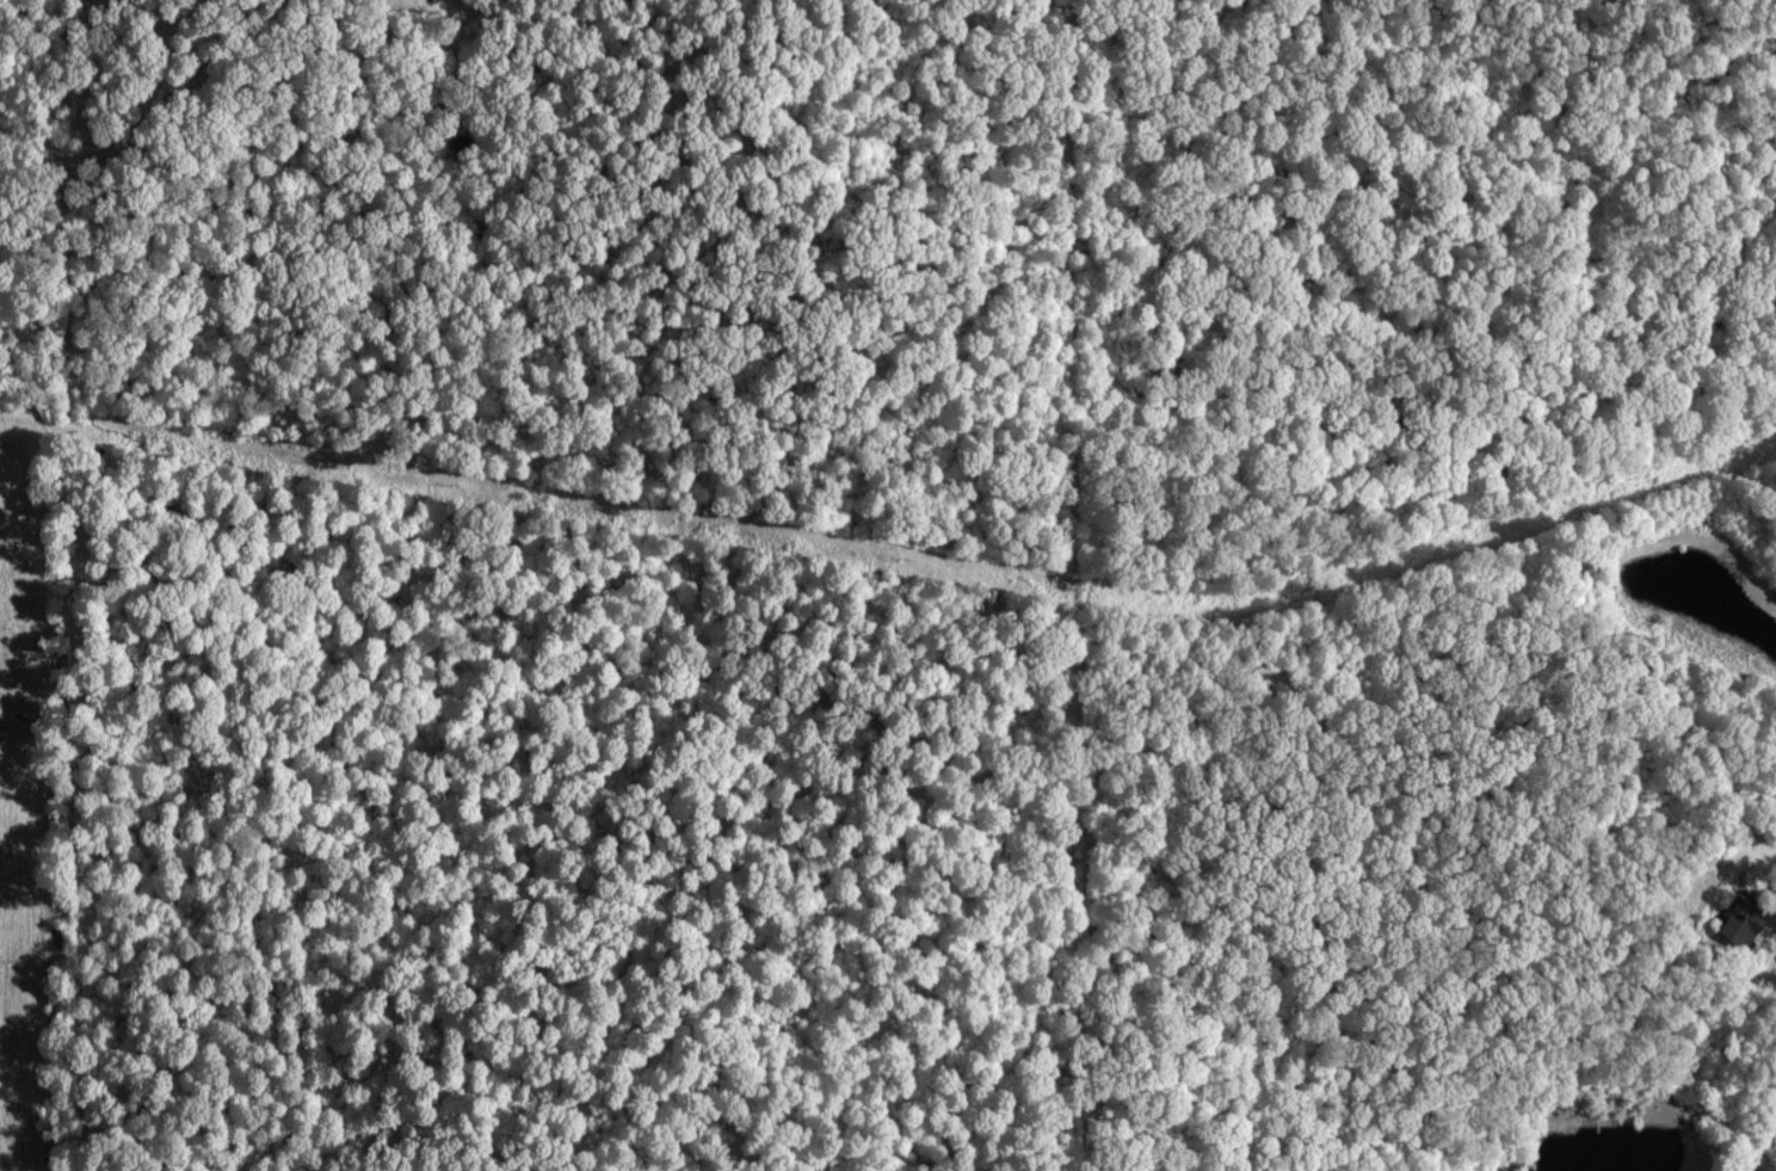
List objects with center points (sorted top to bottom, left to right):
road: (155, 115)
building: (1729, 929)
road: (1746, 961)

